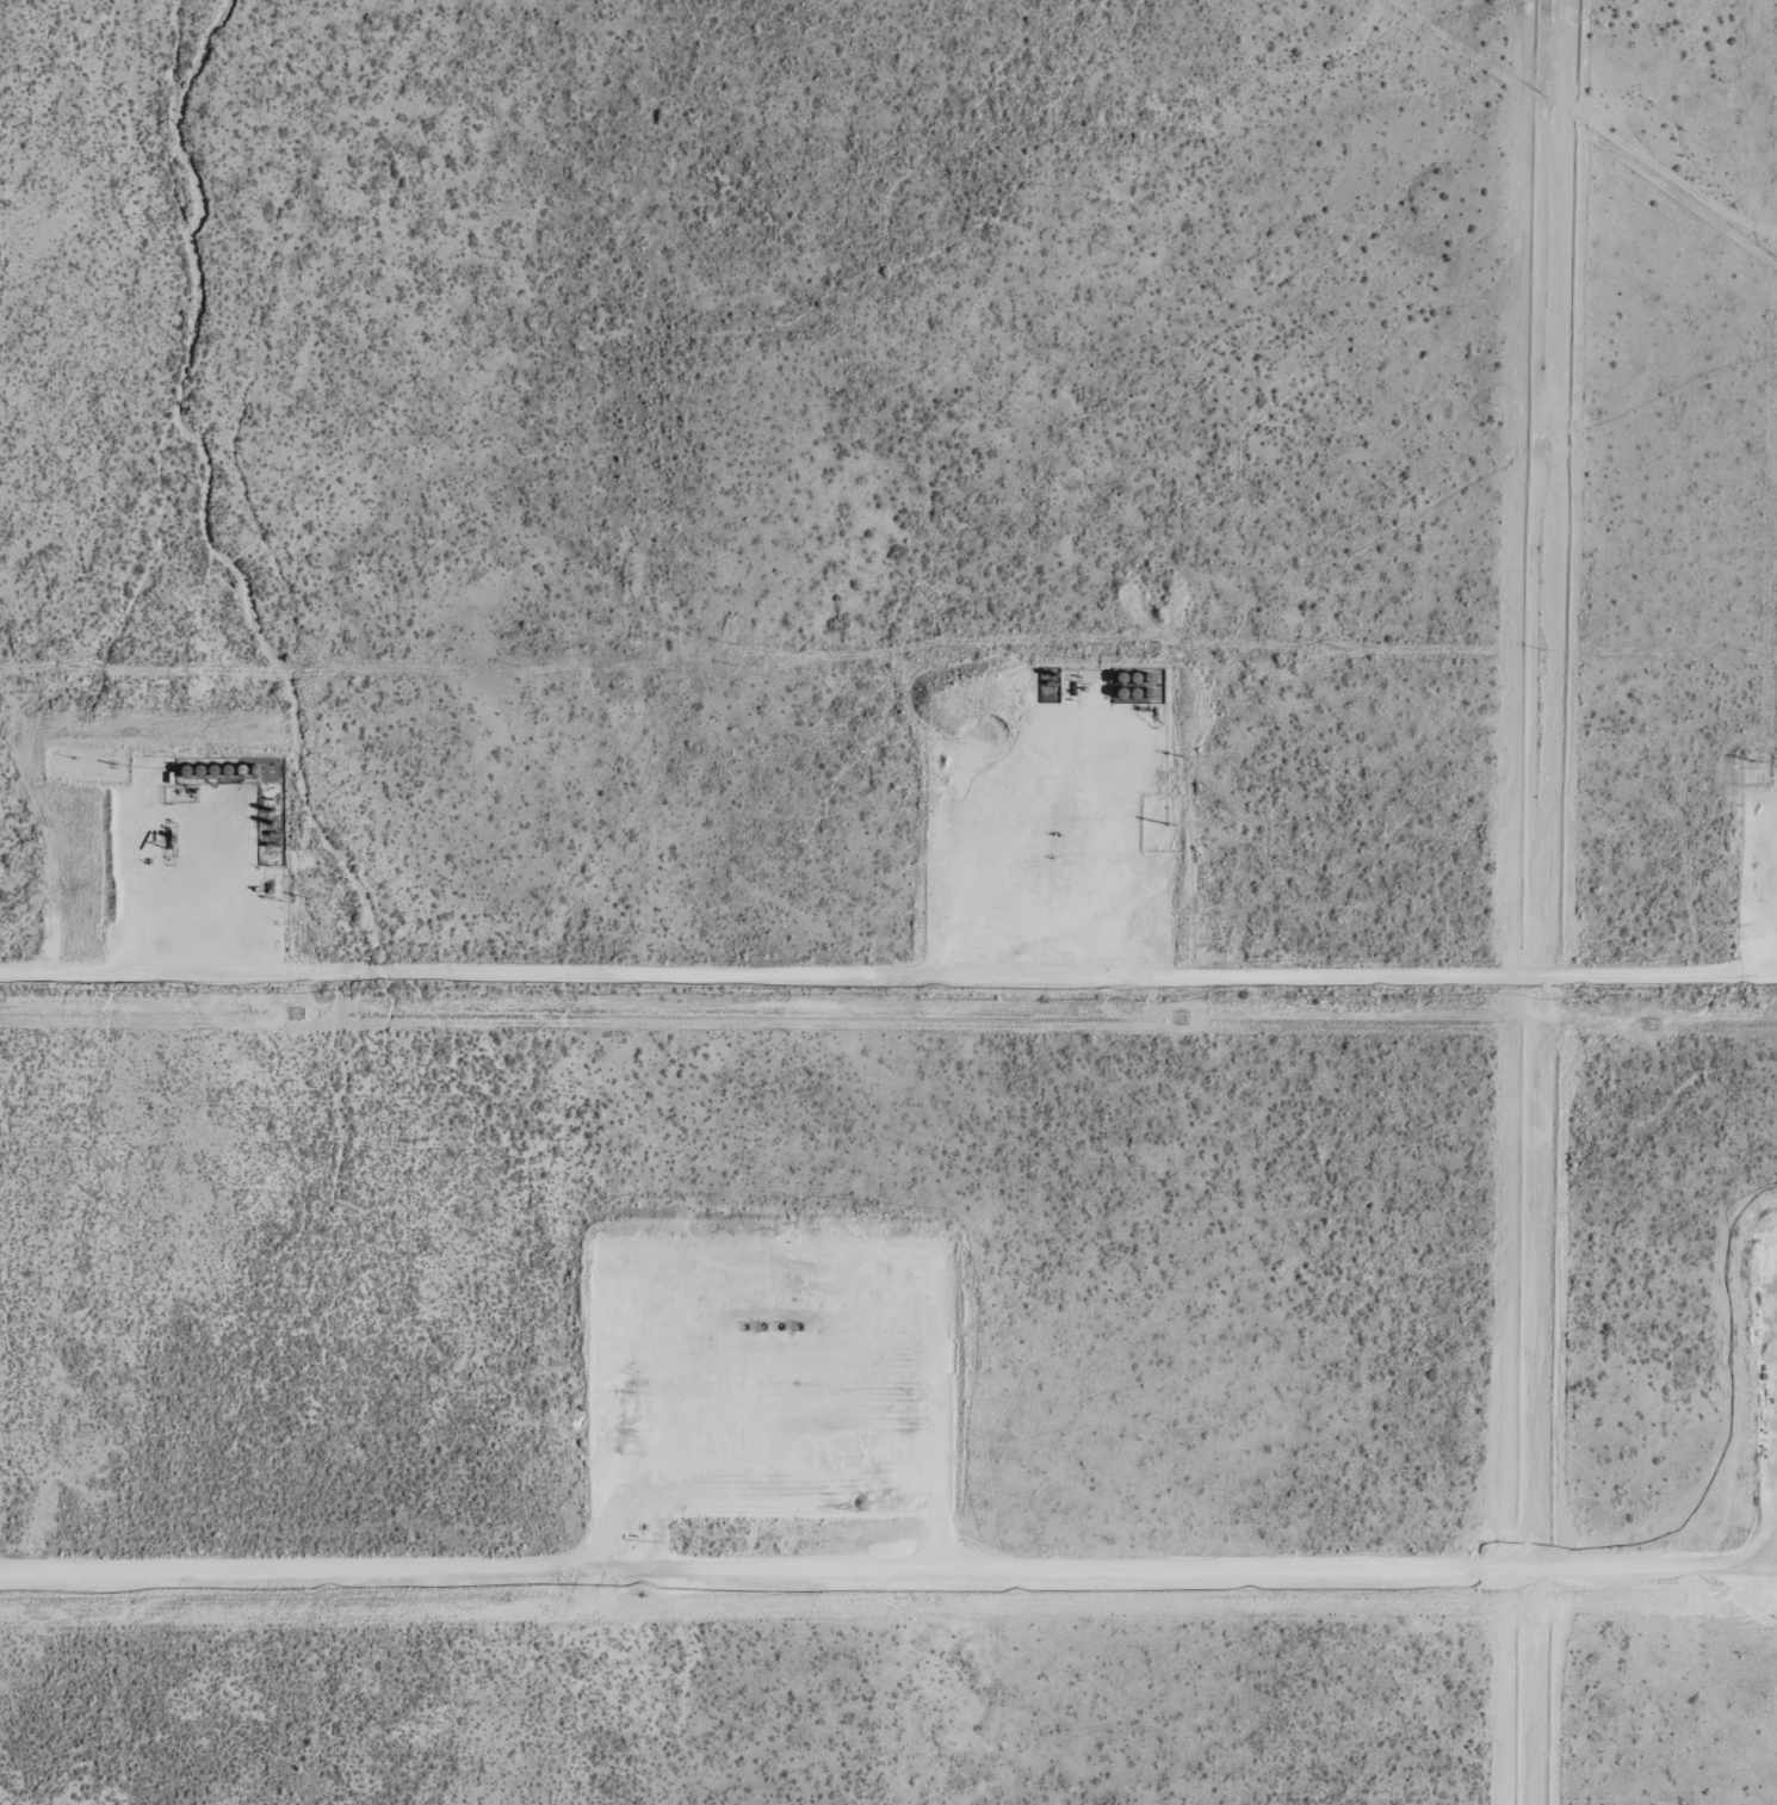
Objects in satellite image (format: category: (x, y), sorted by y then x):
petroleum well: (168, 840)
road: (1021, 849)
petroleum well: (1050, 854)
road: (131, 867)
road: (887, 966)
petroleum well: (744, 1325)
petroleum well: (762, 1325)
petroleum well: (780, 1325)
petroleum well: (798, 1325)
road: (887, 1346)
road: (887, 1565)

